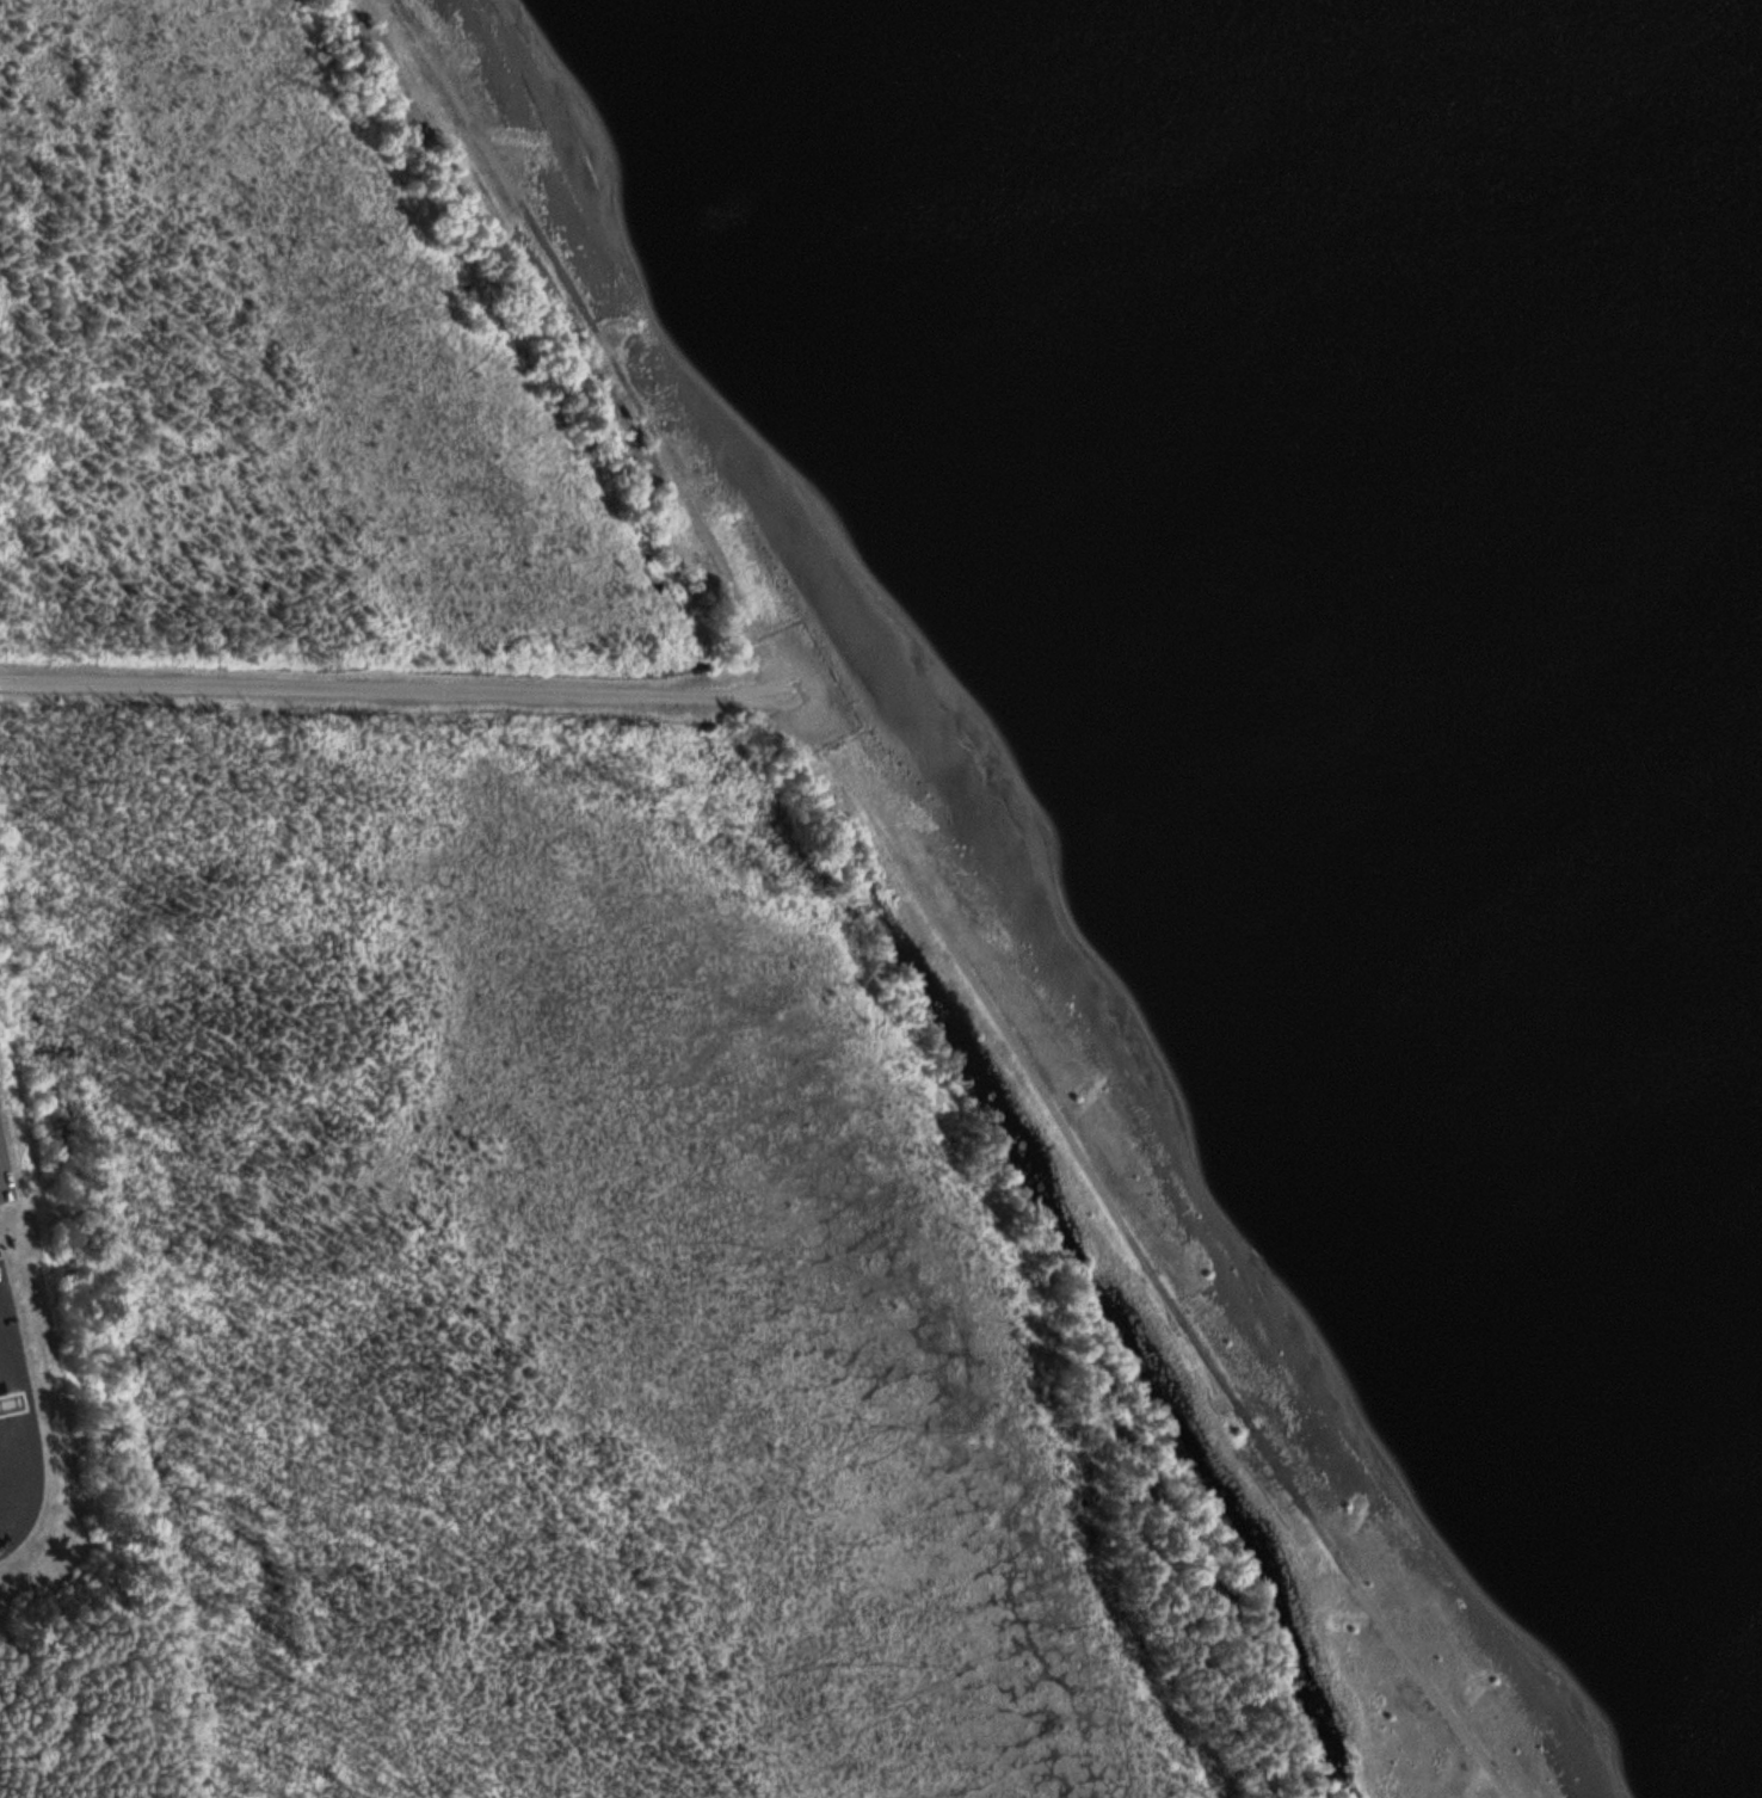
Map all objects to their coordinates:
road: (363, 681)
building: (4, 1397)

